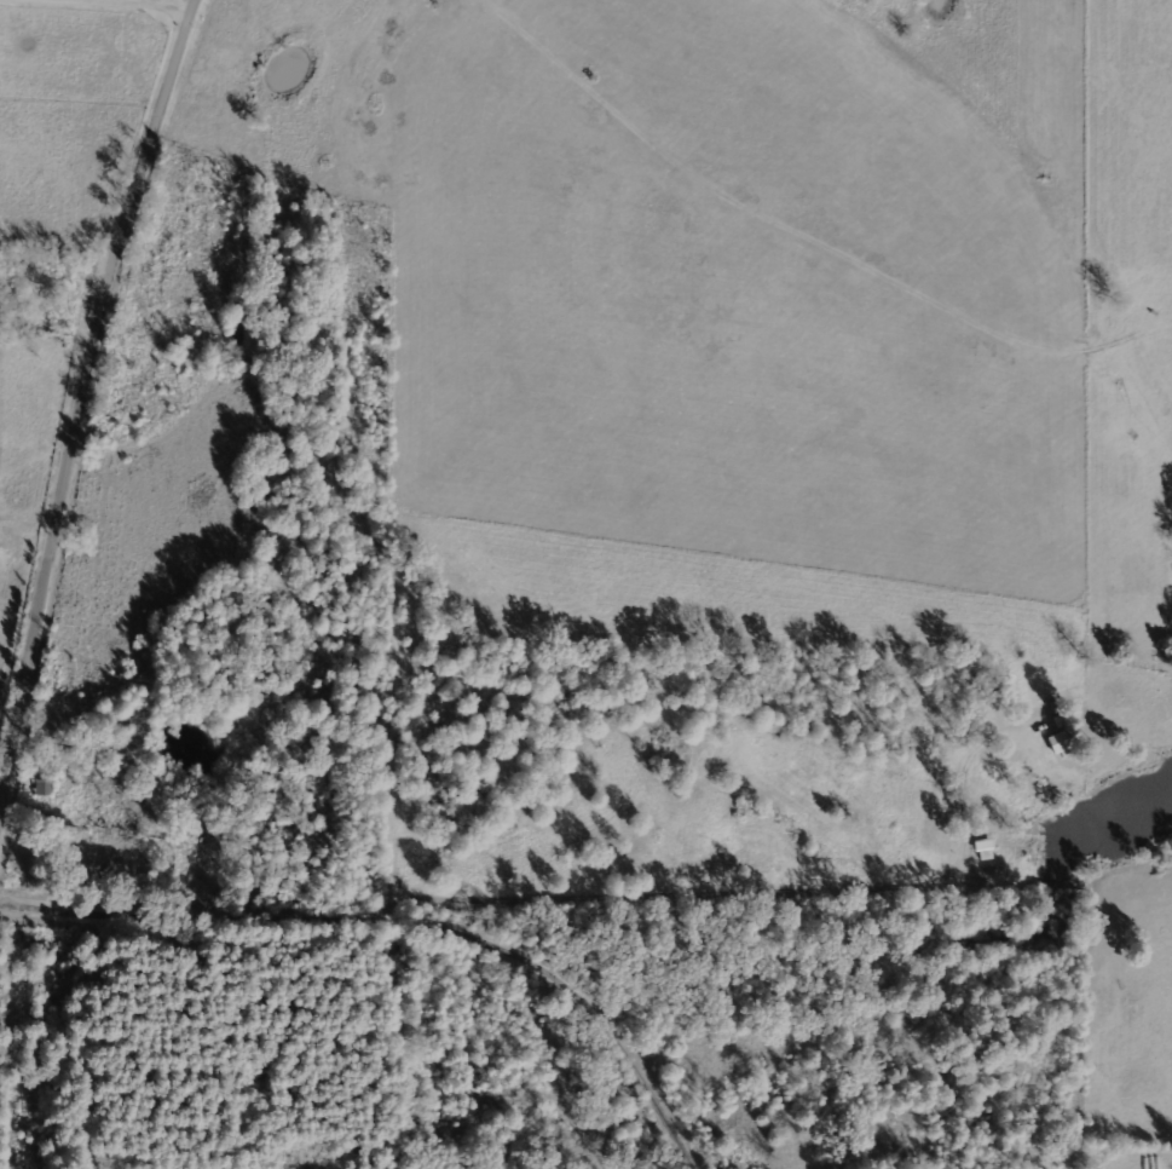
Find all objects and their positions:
road: (135, 2)
road: (85, 436)
building: (1062, 741)
building: (985, 848)
road: (415, 914)

